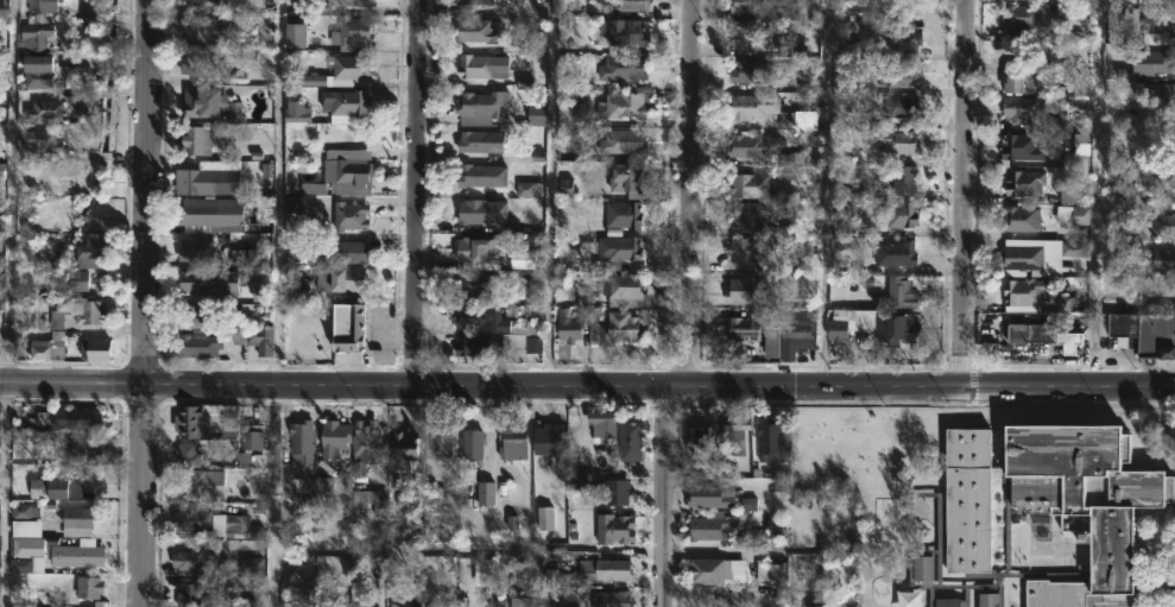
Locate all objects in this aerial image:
building: (474, 2)
building: (198, 4)
building: (356, 5)
building: (40, 6)
building: (628, 6)
building: (747, 6)
building: (1025, 15)
building: (1158, 23)
building: (194, 31)
building: (475, 31)
building: (350, 33)
building: (626, 33)
building: (33, 34)
building: (746, 34)
building: (296, 37)
building: (0, 42)
building: (903, 42)
building: (1152, 62)
building: (196, 63)
building: (474, 67)
building: (36, 71)
building: (751, 71)
building: (335, 72)
building: (1019, 76)
building: (902, 77)
building: (621, 87)
building: (1161, 101)
building: (197, 102)
building: (348, 106)
building: (481, 108)
building: (903, 108)
building: (1022, 108)
building: (42, 110)
building: (767, 112)
building: (295, 113)
building: (570, 115)
building: (40, 141)
building: (196, 141)
building: (479, 143)
building: (621, 143)
building: (898, 143)
building: (753, 146)
building: (1019, 148)
building: (1076, 156)
building: (0, 169)
building: (590, 171)
building: (348, 176)
building: (473, 176)
building: (624, 178)
building: (903, 179)
building: (195, 181)
building: (1022, 184)
building: (746, 185)
road: (416, 191)
road: (691, 192)
road: (822, 192)
road: (962, 192)
road: (1093, 192)
building: (298, 203)
building: (475, 213)
building: (623, 215)
building: (899, 215)
building: (1080, 215)
building: (210, 216)
building: (348, 216)
building: (744, 217)
building: (1019, 220)
building: (1161, 225)
building: (593, 227)
building: (618, 248)
building: (478, 249)
building: (90, 251)
building: (194, 251)
building: (745, 251)
building: (350, 253)
building: (1040, 254)
building: (895, 255)
building: (247, 258)
building: (1160, 260)
building: (594, 263)
building: (340, 280)
building: (195, 282)
building: (81, 283)
building: (476, 286)
building: (623, 291)
building: (746, 291)
building: (903, 293)
building: (1024, 293)
road: (8, 303)
road: (143, 303)
road: (277, 303)
building: (74, 311)
building: (308, 314)
building: (195, 317)
building: (478, 318)
building: (873, 324)
building: (524, 327)
building: (346, 328)
building: (744, 328)
building: (568, 330)
building: (614, 330)
building: (1145, 331)
building: (795, 333)
building: (1046, 336)
building: (259, 340)
building: (492, 344)
building: (195, 347)
building: (772, 348)
building: (44, 350)
building: (93, 350)
road: (587, 385)
building: (68, 417)
building: (0, 422)
building: (190, 422)
building: (601, 422)
building: (549, 434)
building: (249, 435)
building: (733, 435)
building: (331, 437)
building: (696, 437)
building: (440, 438)
building: (512, 438)
building: (628, 440)
building: (770, 440)
building: (301, 441)
building: (470, 443)
building: (364, 444)
building: (78, 447)
building: (402, 447)
building: (185, 454)
building: (195, 483)
building: (52, 487)
building: (484, 489)
building: (613, 491)
building: (708, 495)
road: (659, 497)
building: (369, 500)
building: (1053, 501)
building: (748, 504)
building: (195, 516)
building: (76, 518)
building: (24, 527)
building: (240, 527)
building: (613, 527)
building: (707, 529)
road: (468, 551)
building: (77, 552)
building: (26, 555)
building: (188, 558)
building: (242, 565)
building: (604, 569)
building: (923, 569)
building: (708, 570)
building: (770, 573)
road: (535, 578)
building: (88, 586)
building: (188, 592)
building: (611, 599)
building: (987, 600)
building: (947, 602)
building: (355, 603)
building: (816, 606)

